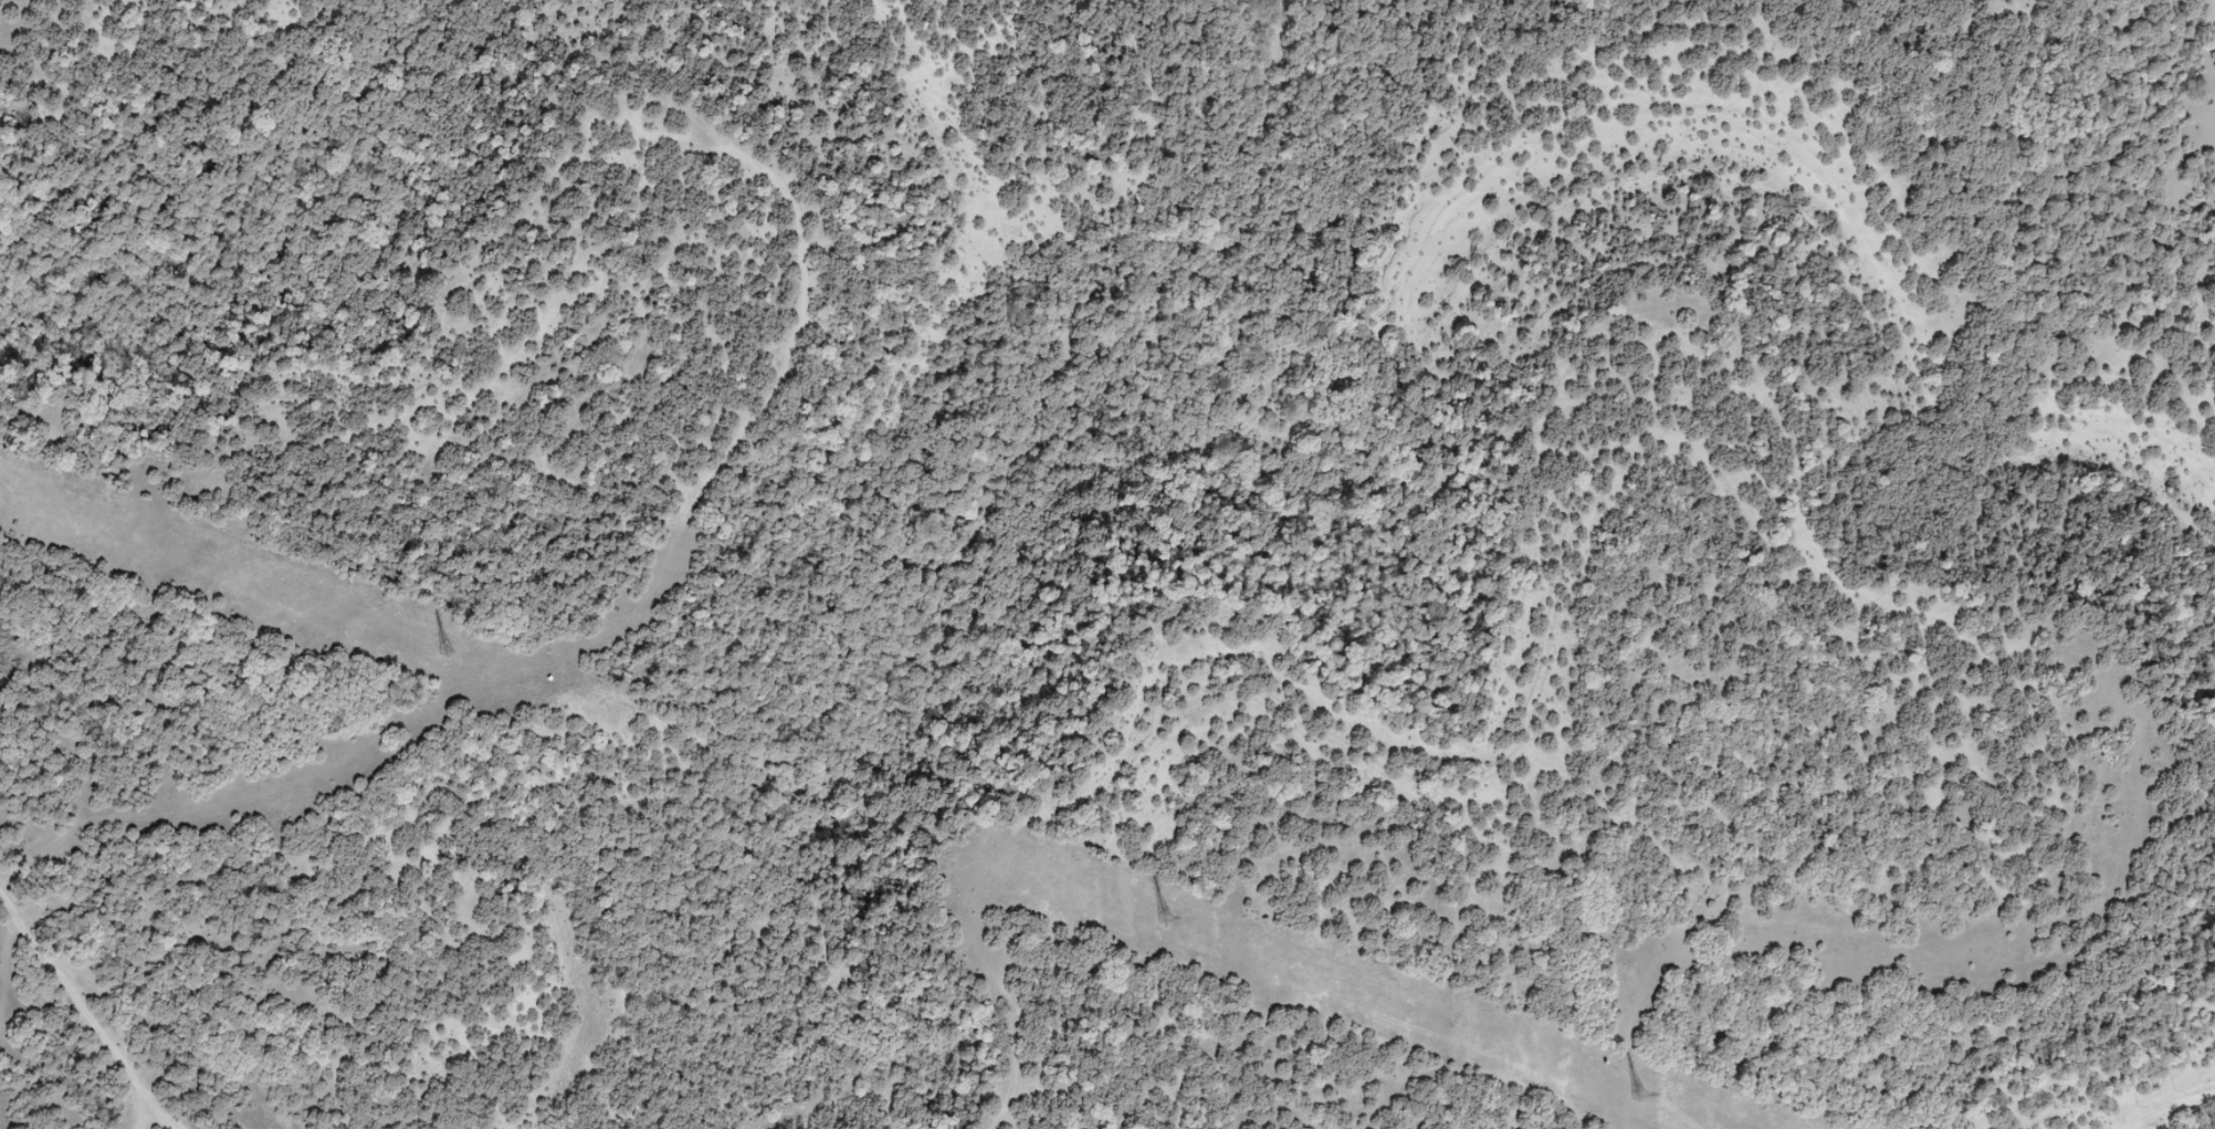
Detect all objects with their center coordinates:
power tower: (444, 651)
power tower: (1167, 920)
road: (87, 1013)
power tower: (1636, 1094)
road: (2171, 1110)

